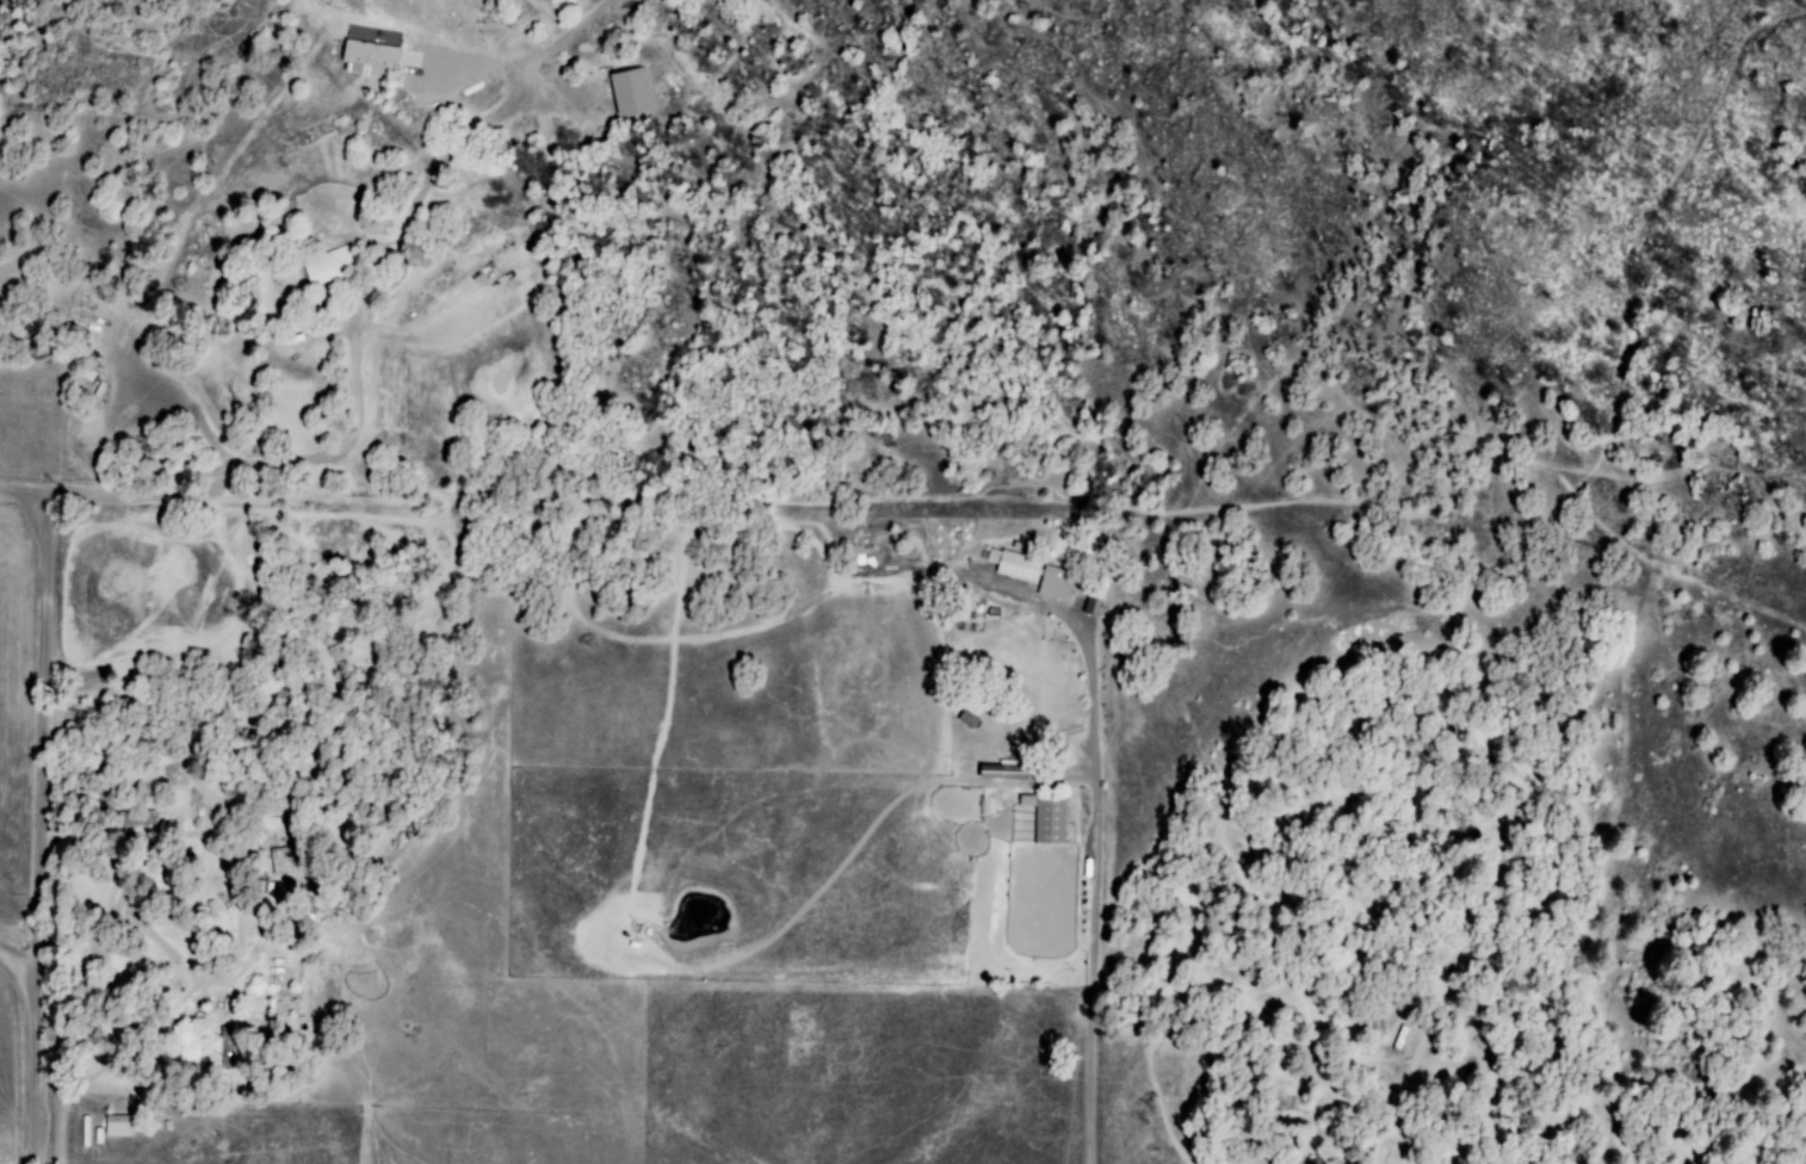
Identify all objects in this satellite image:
building: (377, 60)
building: (631, 93)
building: (327, 266)
road: (350, 289)
road: (1090, 407)
building: (1033, 575)
building: (1094, 606)
road: (681, 651)
building: (1047, 818)
road: (44, 831)
building: (119, 1126)

